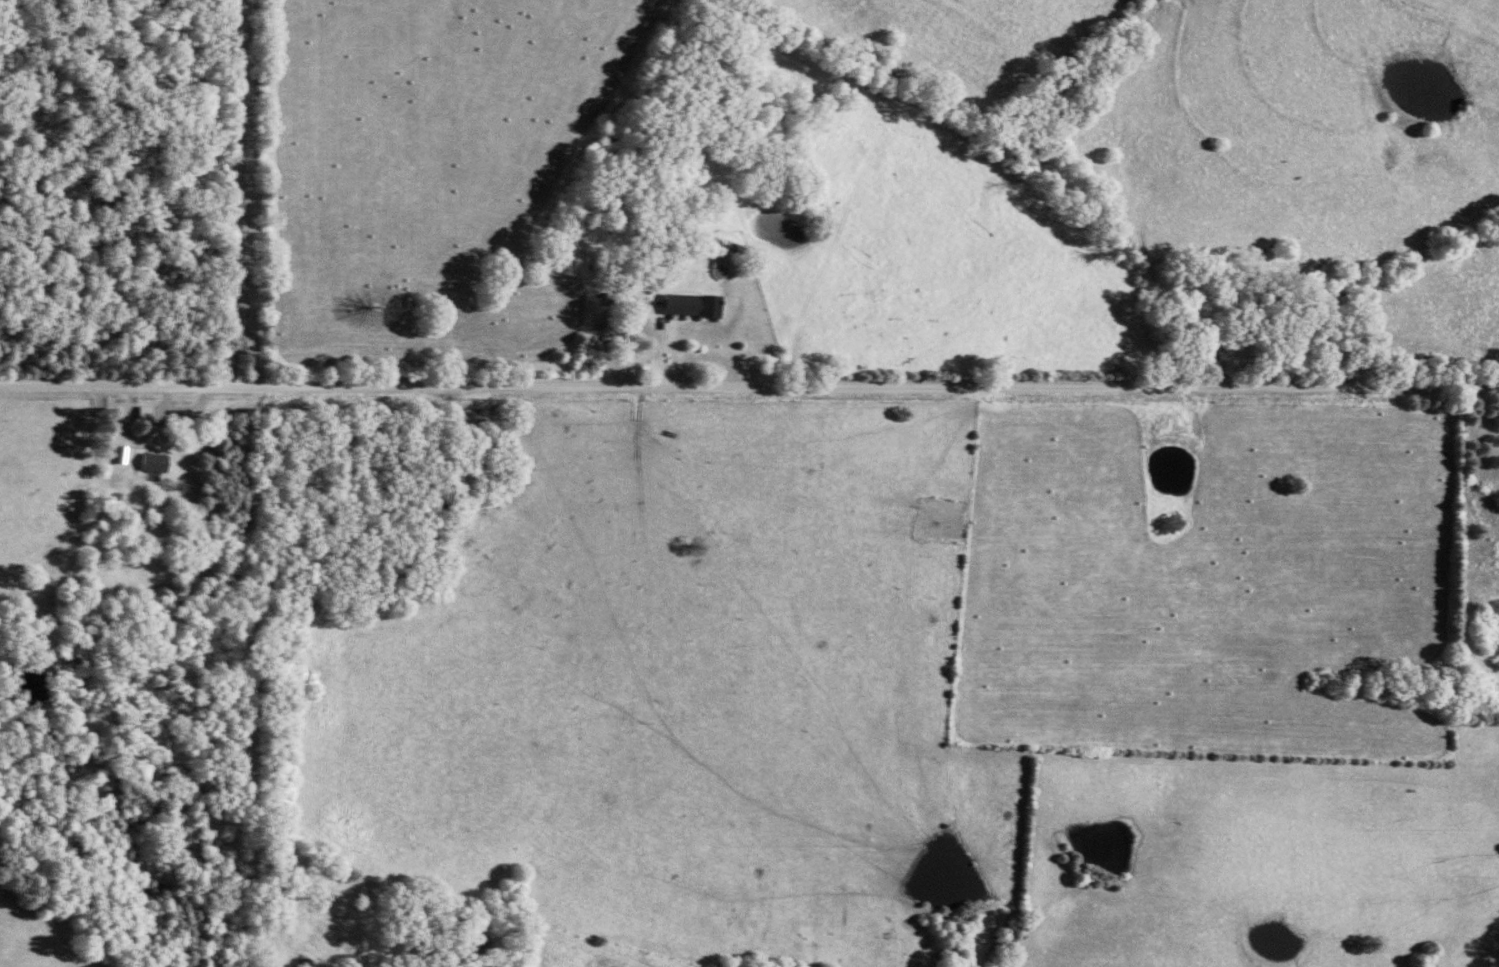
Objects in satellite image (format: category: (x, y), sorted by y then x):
road: (246, 191)
building: (700, 303)
road: (660, 352)
road: (749, 384)
road: (191, 418)
building: (161, 461)

